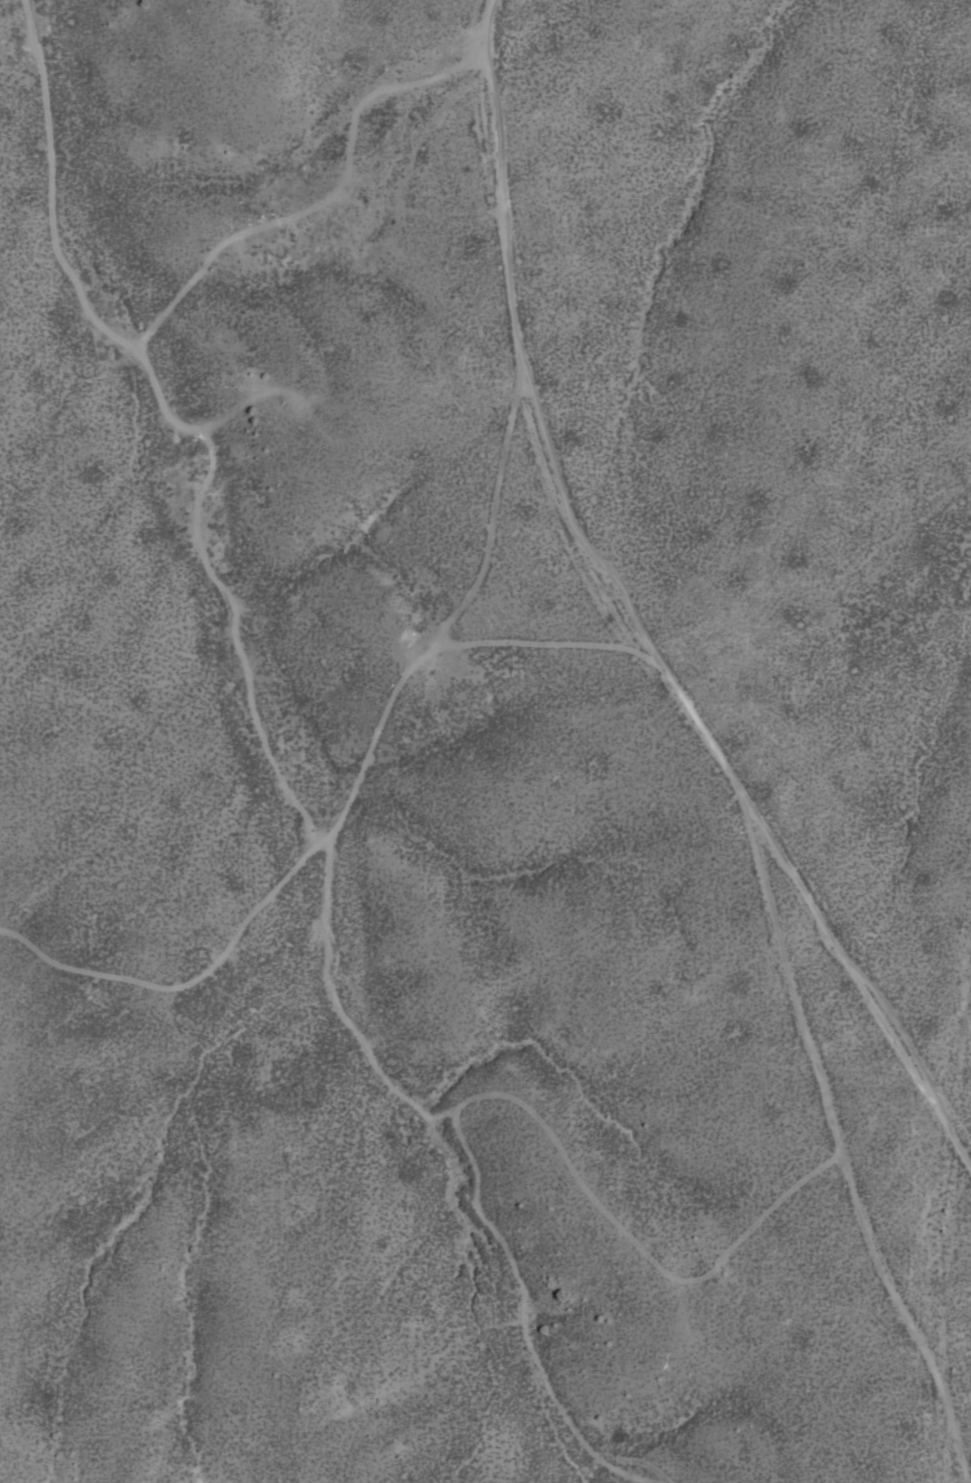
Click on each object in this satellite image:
road: (630, 613)
road: (843, 1150)

